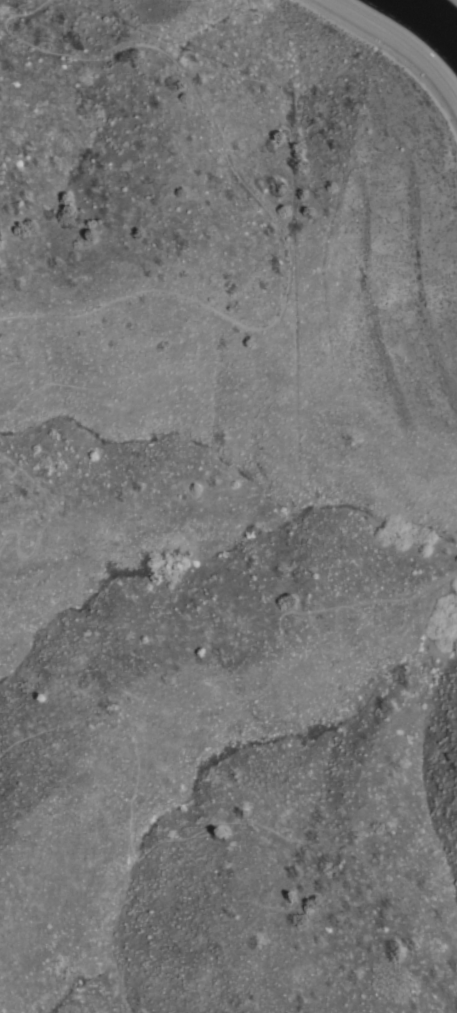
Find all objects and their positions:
road: (401, 45)

